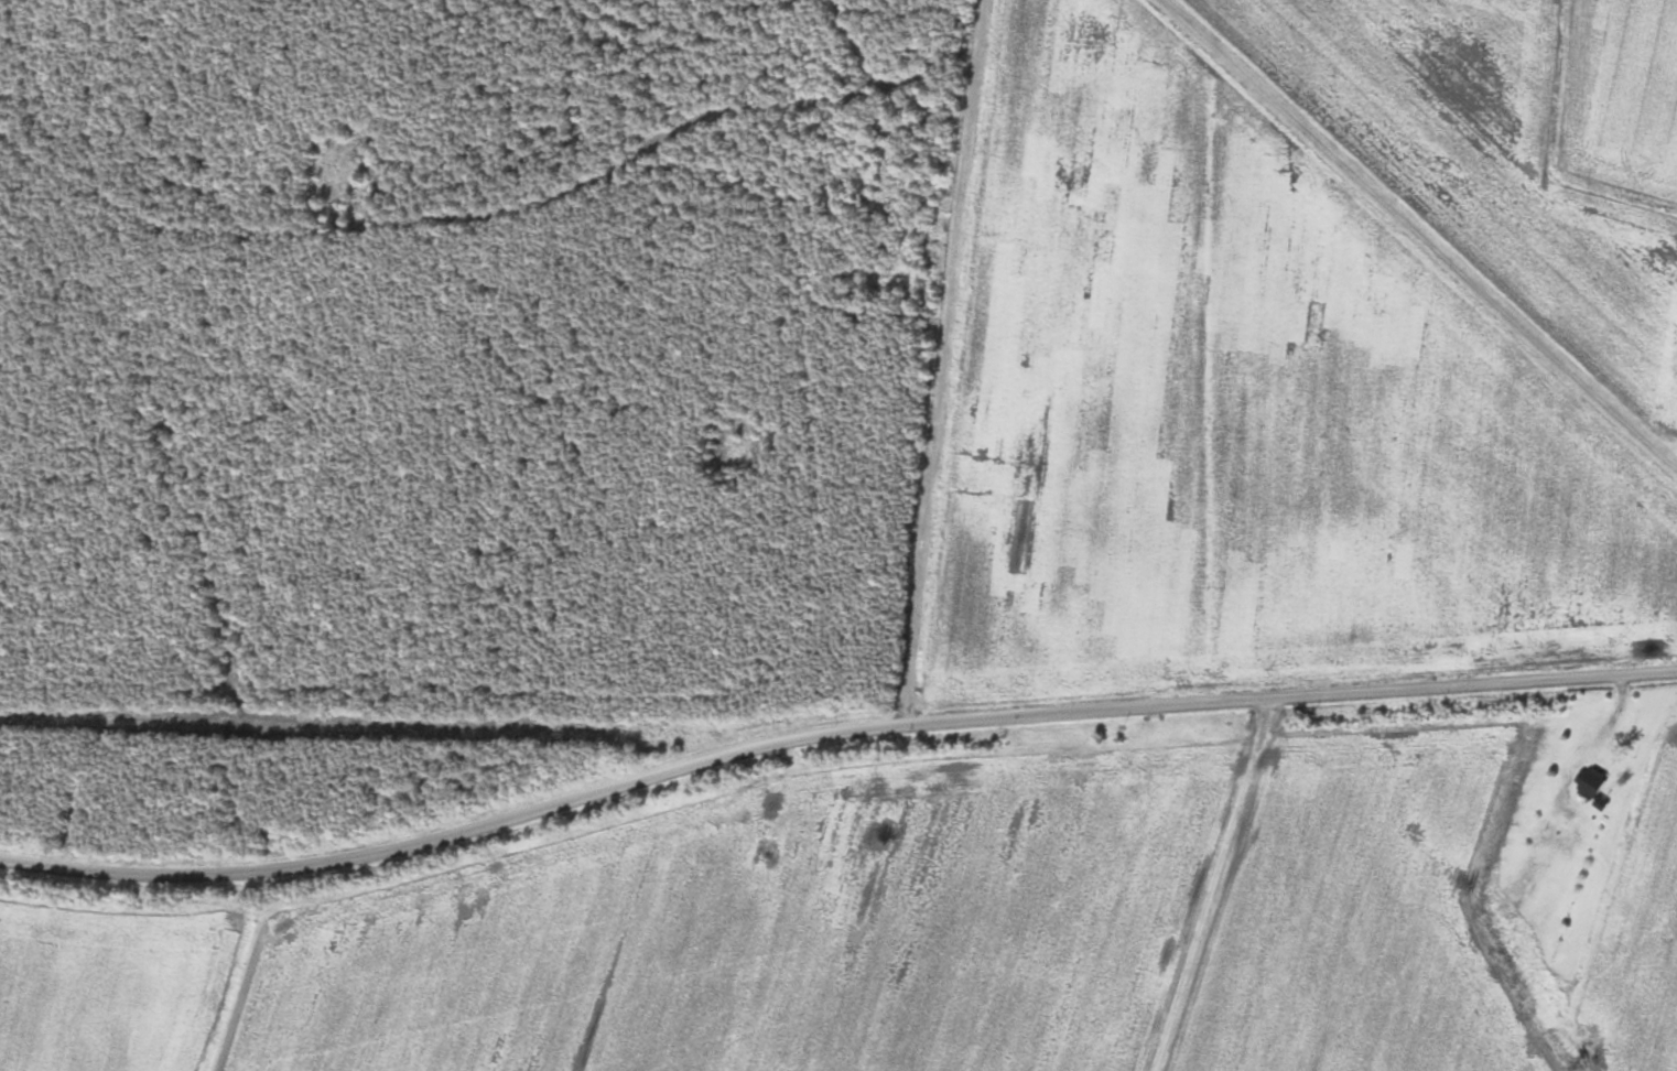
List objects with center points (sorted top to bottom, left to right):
road: (943, 361)
road: (830, 735)
building: (1591, 785)

